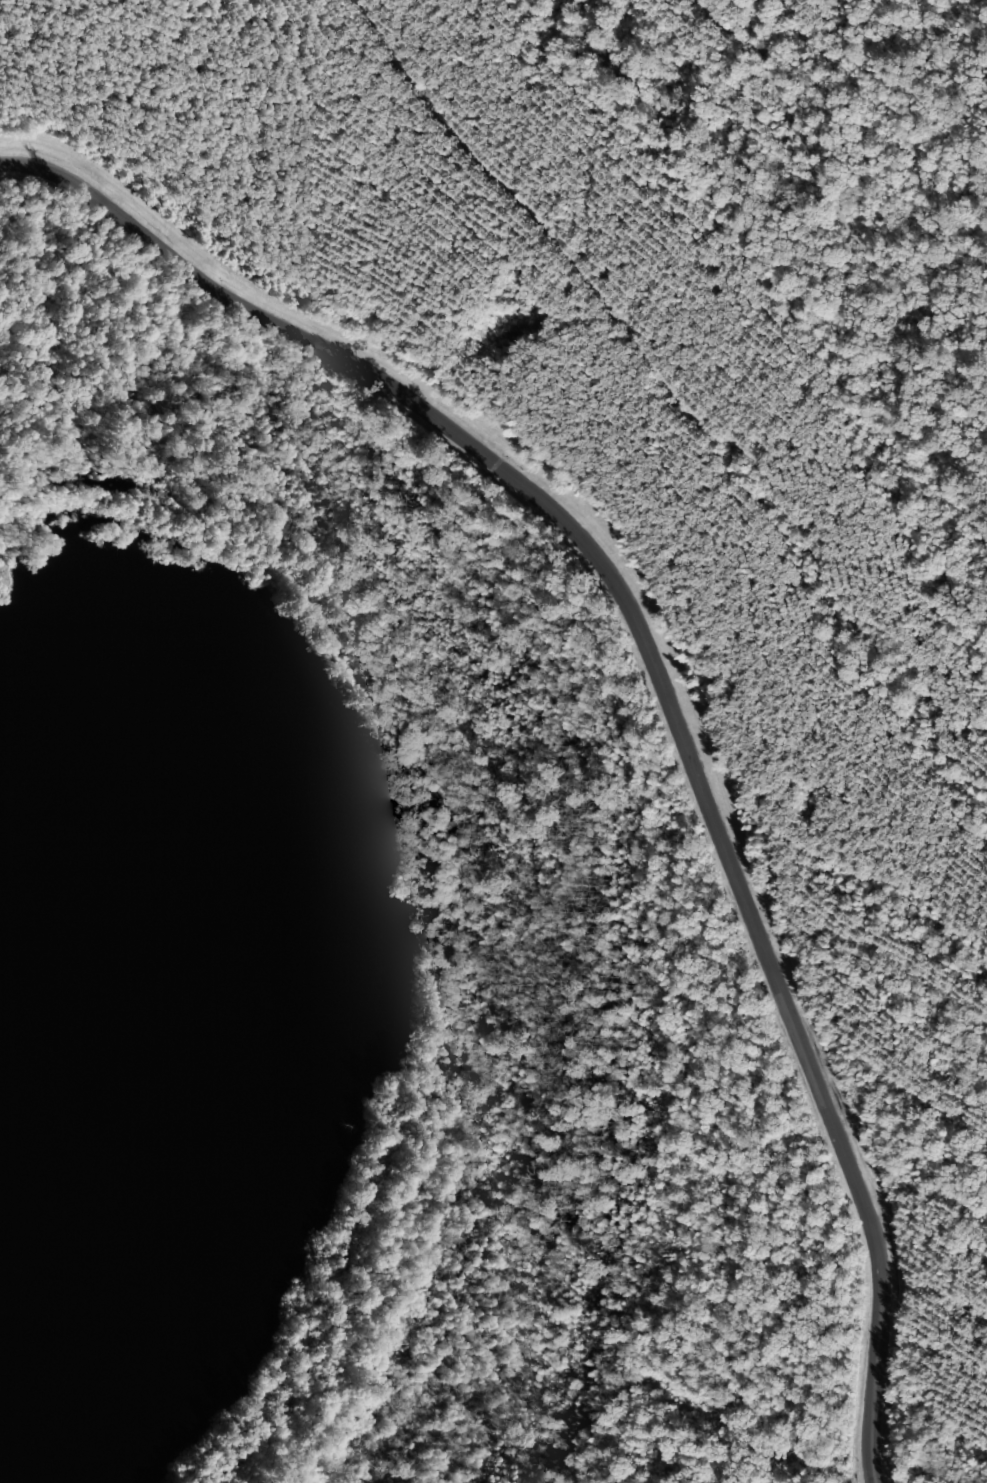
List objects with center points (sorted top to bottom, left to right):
road: (654, 673)

